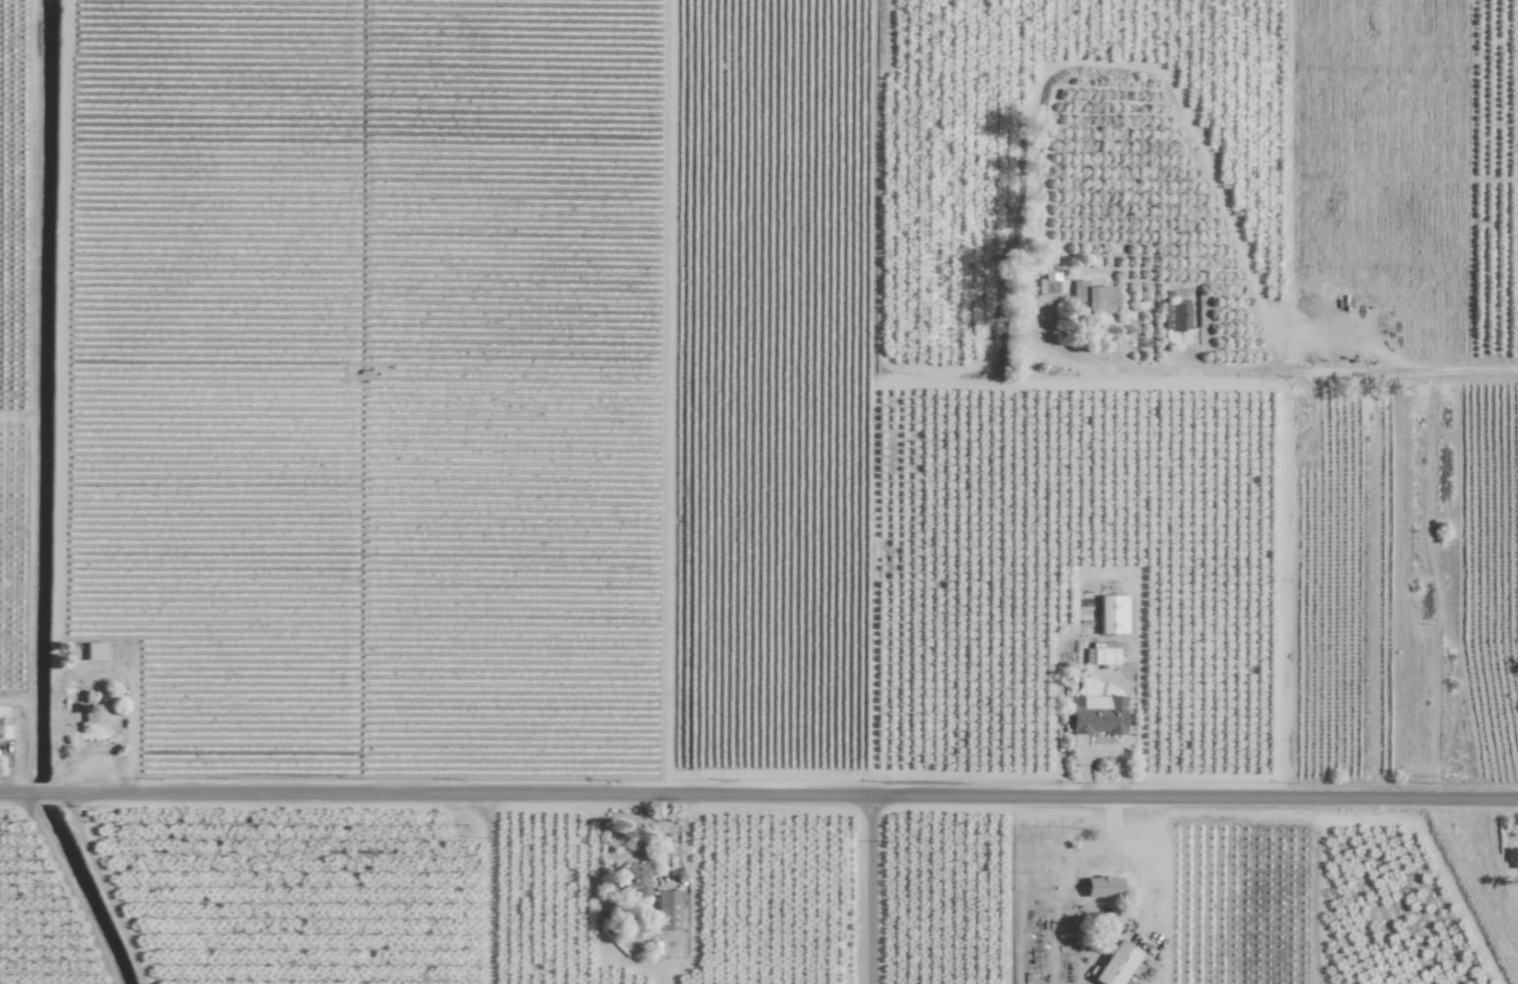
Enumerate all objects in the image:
building: (1089, 298)
building: (1175, 316)
road: (1297, 370)
building: (1111, 615)
building: (95, 652)
building: (1101, 653)
building: (97, 711)
building: (1098, 716)
road: (758, 804)
building: (1513, 858)
building: (633, 879)
building: (1101, 887)
road: (1149, 890)
road: (875, 894)
building: (666, 910)
building: (1115, 964)

